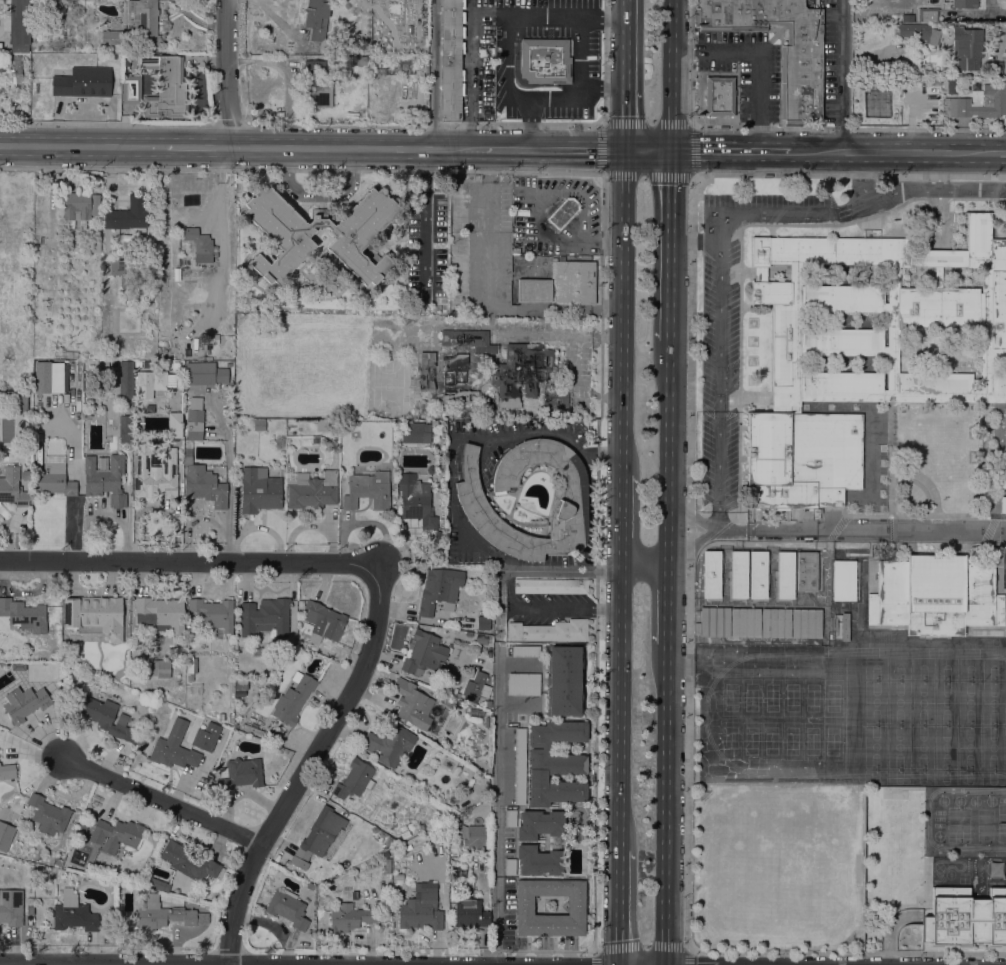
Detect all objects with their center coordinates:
building: (962, 3)
building: (928, 15)
building: (696, 17)
building: (907, 18)
road: (545, 20)
road: (604, 20)
building: (318, 23)
building: (136, 24)
building: (19, 26)
building: (733, 29)
road: (737, 29)
building: (918, 34)
road: (775, 36)
building: (788, 36)
road: (782, 38)
building: (966, 47)
road: (715, 51)
parking lot: (709, 57)
building: (358, 60)
building: (450, 60)
parking lot: (478, 60)
building: (545, 61)
road: (605, 61)
parking lot: (838, 61)
road: (692, 62)
road: (470, 63)
street lamp: (738, 63)
building: (802, 64)
parking lot: (585, 67)
parking lot: (737, 68)
building: (994, 69)
road: (226, 73)
road: (434, 74)
road: (626, 75)
road: (671, 75)
road: (845, 75)
building: (781, 76)
road: (518, 81)
building: (82, 82)
road: (781, 84)
building: (316, 85)
building: (164, 87)
building: (952, 87)
building: (131, 89)
road: (603, 89)
building: (719, 97)
road: (544, 100)
building: (731, 101)
road: (760, 101)
building: (956, 101)
building: (783, 104)
parking lot: (752, 107)
traffic signals: (625, 115)
street lamp: (688, 116)
road: (230, 122)
building: (792, 122)
road: (105, 124)
street lamp: (771, 124)
road: (530, 125)
road: (603, 125)
road: (693, 125)
road: (781, 125)
road: (425, 126)
road: (850, 128)
street lamp: (745, 129)
street lamp: (936, 129)
street lamp: (832, 130)
road: (83, 145)
road: (198, 146)
road: (359, 148)
road: (556, 150)
traffic signals: (593, 151)
traffic signals: (625, 151)
road: (648, 151)
traffic signals: (671, 151)
traffic signals: (702, 151)
road: (730, 151)
road: (894, 152)
road: (1003, 154)
road: (301, 172)
road: (692, 174)
road: (603, 175)
road: (851, 175)
road: (695, 177)
traffic signals: (671, 184)
road: (320, 191)
road: (914, 192)
road: (547, 199)
building: (79, 206)
building: (563, 212)
building: (127, 214)
road: (762, 215)
road: (431, 225)
flagpole: (938, 226)
building: (352, 238)
road: (695, 242)
road: (591, 243)
building: (199, 244)
road: (605, 244)
road: (617, 244)
building: (757, 250)
road: (669, 252)
building: (123, 269)
building: (777, 273)
building: (845, 275)
building: (916, 277)
building: (961, 278)
building: (752, 279)
building: (561, 284)
road: (623, 312)
building: (845, 321)
building: (468, 340)
building: (940, 352)
building: (137, 364)
building: (785, 364)
building: (844, 364)
building: (999, 365)
building: (176, 366)
building: (521, 371)
building: (427, 372)
building: (205, 374)
building: (42, 376)
road: (601, 377)
building: (158, 379)
building: (456, 379)
building: (125, 382)
road: (720, 386)
building: (555, 399)
building: (14, 401)
building: (437, 414)
building: (194, 419)
building: (259, 424)
building: (321, 425)
building: (175, 426)
building: (124, 428)
building: (333, 428)
building: (414, 433)
road: (496, 435)
building: (1004, 439)
building: (315, 440)
building: (290, 450)
road: (602, 456)
road: (482, 462)
road: (668, 462)
building: (101, 464)
building: (155, 473)
building: (27, 475)
building: (105, 480)
building: (1003, 480)
building: (53, 481)
building: (202, 482)
building: (12, 487)
building: (310, 489)
building: (259, 490)
building: (368, 490)
building: (416, 500)
building: (472, 502)
building: (1003, 505)
building: (816, 514)
road: (621, 522)
road: (875, 528)
road: (718, 531)
road: (732, 531)
road: (186, 562)
road: (643, 570)
road: (561, 571)
building: (807, 572)
building: (711, 574)
building: (739, 574)
building: (758, 575)
building: (786, 575)
building: (843, 580)
building: (550, 586)
building: (587, 586)
building: (439, 589)
building: (935, 595)
parking lot: (544, 606)
road: (567, 610)
road: (666, 613)
building: (161, 614)
building: (24, 615)
building: (94, 615)
building: (214, 616)
building: (264, 617)
road: (569, 618)
road: (586, 618)
road: (573, 619)
building: (324, 621)
building: (714, 621)
building: (745, 622)
building: (483, 623)
building: (775, 623)
building: (806, 623)
building: (844, 627)
building: (549, 631)
building: (507, 633)
building: (461, 634)
building: (481, 640)
building: (259, 648)
building: (525, 652)
parking lot: (525, 652)
track: (916, 652)
building: (424, 653)
building: (191, 667)
building: (154, 668)
park: (876, 668)
park: (900, 669)
park: (923, 669)
park: (946, 669)
park: (970, 669)
park: (993, 669)
building: (564, 680)
building: (523, 685)
parking lot: (523, 685)
building: (240, 686)
building: (474, 686)
park: (731, 697)
park: (751, 697)
park: (772, 697)
park: (792, 697)
park: (812, 698)
park: (833, 698)
building: (293, 699)
building: (449, 701)
park: (876, 703)
park: (899, 703)
park: (923, 703)
park: (946, 703)
park: (969, 703)
building: (25, 704)
building: (412, 704)
park: (993, 704)
building: (235, 708)
road: (619, 710)
track: (861, 715)
building: (222, 717)
building: (230, 717)
building: (106, 718)
road: (689, 721)
building: (205, 737)
park: (731, 741)
park: (751, 741)
park: (771, 741)
park: (792, 741)
park: (812, 741)
building: (141, 742)
park: (832, 742)
building: (389, 744)
park: (875, 747)
park: (899, 747)
park: (922, 747)
park: (946, 747)
park: (969, 747)
building: (173, 748)
building: (545, 748)
park: (992, 748)
building: (277, 750)
building: (519, 766)
parking lot: (519, 766)
road: (595, 766)
road: (497, 767)
road: (309, 768)
building: (7, 771)
building: (239, 774)
park: (898, 778)
building: (354, 779)
park: (875, 779)
park: (922, 779)
park: (945, 779)
park: (969, 779)
park: (992, 779)
building: (198, 784)
building: (553, 791)
building: (460, 794)
road: (162, 800)
road: (665, 810)
building: (48, 815)
building: (510, 819)
parking lot: (510, 819)
building: (539, 824)
building: (83, 825)
building: (403, 828)
building: (9, 830)
building: (405, 834)
building: (115, 835)
building: (318, 836)
building: (473, 836)
building: (385, 855)
building: (348, 857)
building: (539, 861)
building: (188, 862)
building: (509, 867)
parking lot: (509, 867)
building: (158, 884)
building: (310, 886)
building: (429, 890)
building: (425, 899)
building: (524, 904)
building: (11, 907)
road: (619, 907)
building: (287, 908)
building: (73, 913)
building: (470, 914)
building: (166, 915)
building: (418, 915)
parking lot: (510, 916)
building: (349, 917)
building: (965, 918)
parking lot: (545, 943)
parking lot: (570, 943)
road: (689, 948)
road: (646, 949)
road: (668, 949)
road: (538, 951)
road: (620, 951)
road: (686, 958)
road: (597, 959)
road: (65, 964)

